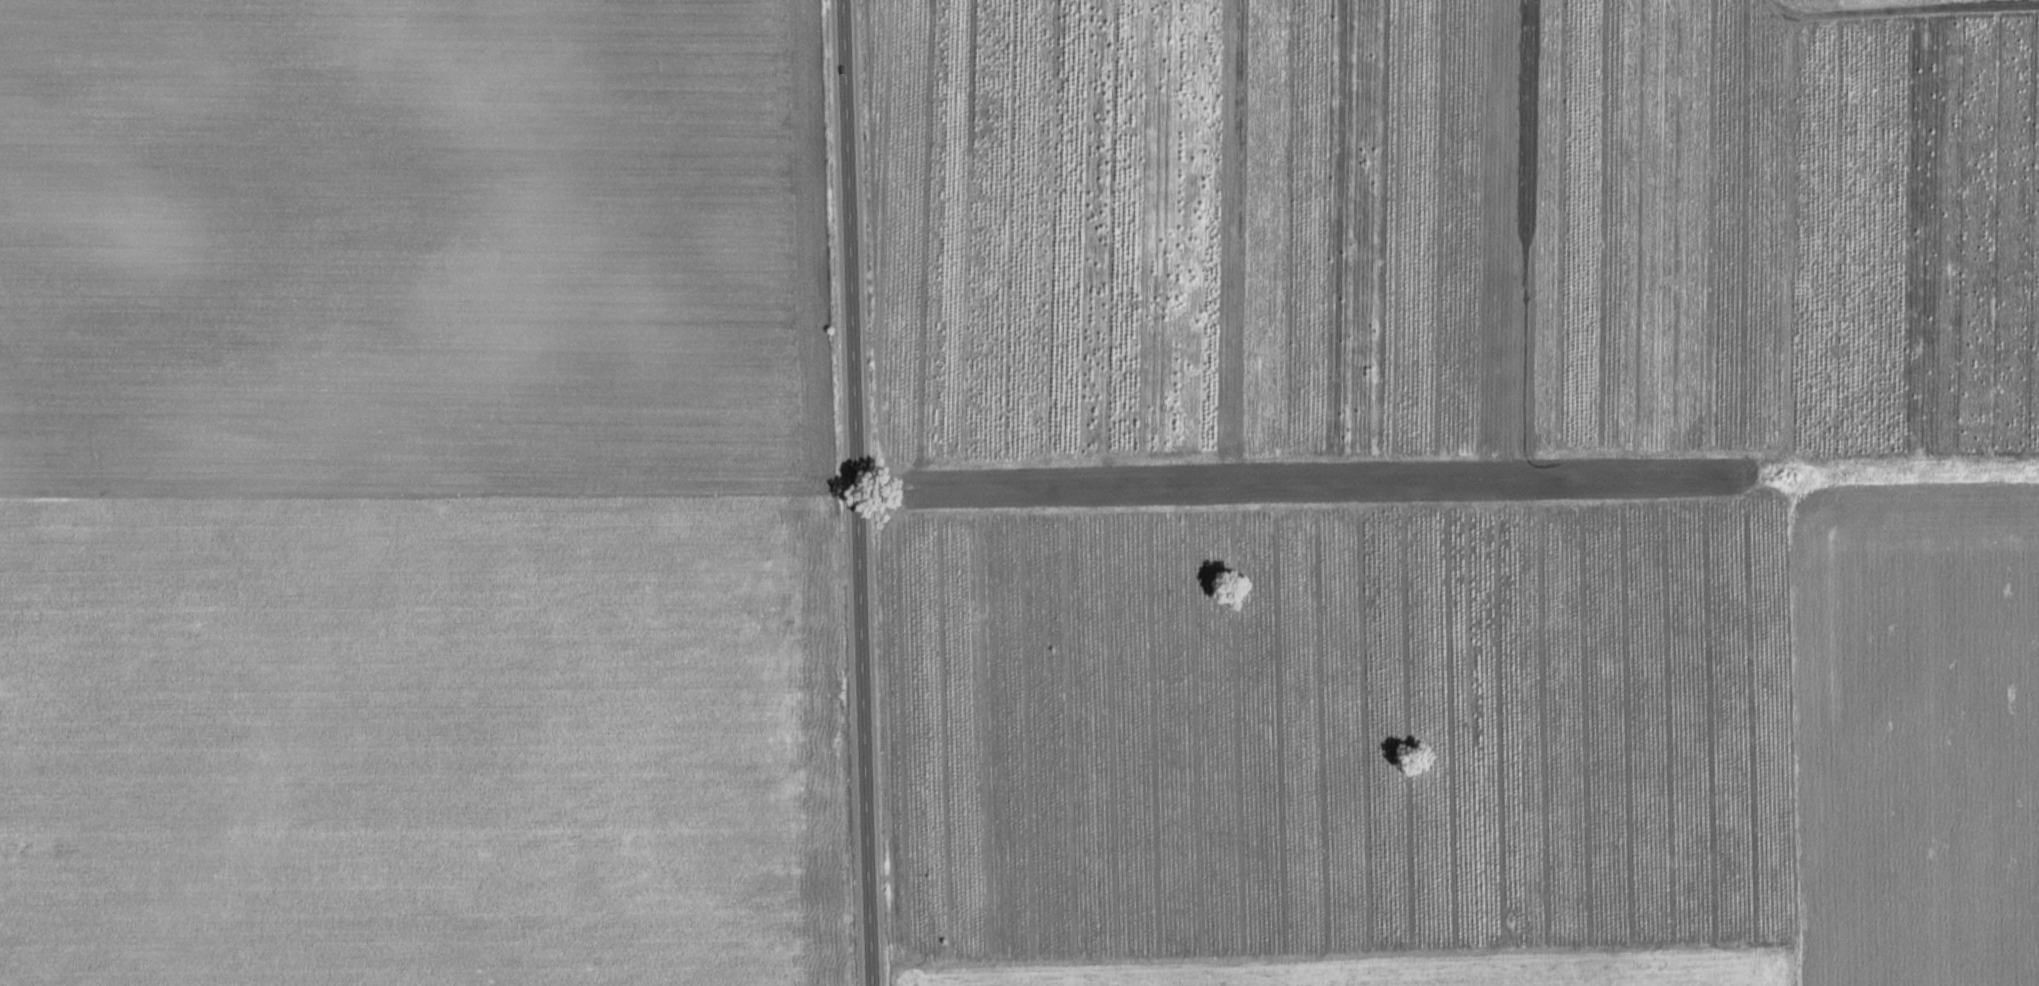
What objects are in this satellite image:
crop: (1864, 3)
road: (1904, 9)
road: (854, 492)
crop: (1456, 492)
crop: (418, 496)

